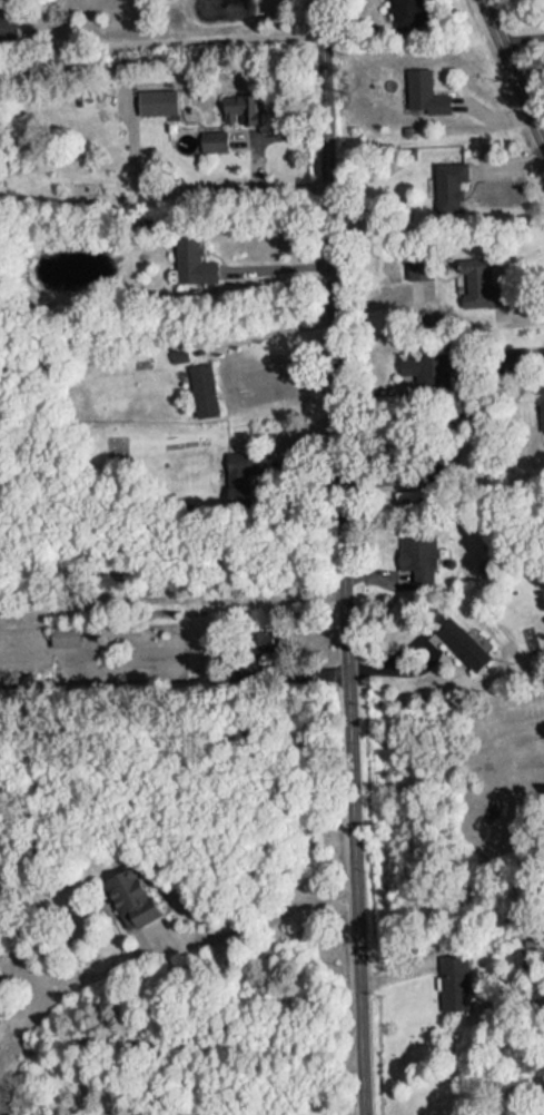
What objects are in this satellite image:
building: (4, 17)
road: (205, 38)
road: (508, 81)
building: (422, 86)
building: (230, 116)
road: (267, 332)
building: (538, 396)
road: (337, 557)
building: (259, 633)
building: (458, 634)
road: (258, 919)

